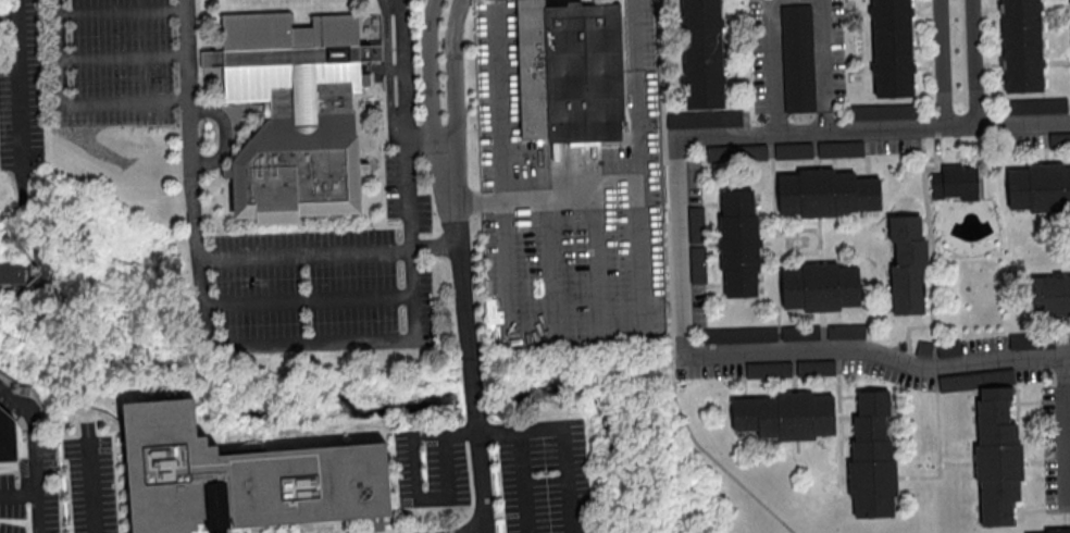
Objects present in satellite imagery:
road: (1054, 3)
road: (843, 4)
road: (384, 5)
road: (986, 7)
road: (923, 9)
parking lot: (1069, 10)
road: (856, 11)
road: (123, 14)
building: (1020, 16)
building: (891, 20)
road: (734, 21)
road: (670, 23)
building: (700, 25)
parking lot: (637, 34)
parking lot: (764, 44)
building: (797, 57)
parking lot: (797, 57)
road: (124, 59)
road: (972, 61)
road: (1055, 61)
road: (940, 62)
building: (1021, 62)
parking lot: (113, 63)
road: (988, 64)
road: (821, 65)
road: (773, 66)
road: (925, 66)
building: (892, 67)
road: (387, 69)
road: (406, 69)
road: (858, 69)
road: (430, 70)
road: (451, 70)
building: (569, 70)
road: (387, 77)
road: (736, 77)
building: (704, 78)
road: (672, 79)
road: (18, 85)
road: (501, 100)
road: (204, 102)
building: (1036, 106)
parking lot: (1036, 106)
road: (71, 108)
road: (244, 108)
building: (882, 111)
parking lot: (882, 111)
building: (296, 113)
parking lot: (745, 116)
building: (705, 117)
parking lot: (705, 117)
road: (872, 127)
road: (226, 136)
road: (425, 138)
parking lot: (1025, 139)
building: (1059, 140)
parking lot: (1059, 140)
road: (239, 141)
road: (1045, 142)
parking lot: (894, 144)
road: (956, 144)
building: (839, 147)
parking lot: (839, 147)
building: (793, 149)
parking lot: (793, 149)
road: (814, 149)
road: (866, 150)
road: (936, 150)
road: (383, 151)
building: (736, 151)
parking lot: (736, 151)
road: (636, 161)
road: (859, 173)
road: (873, 173)
road: (371, 177)
parking lot: (693, 181)
building: (955, 181)
building: (1040, 187)
building: (816, 193)
building: (860, 193)
building: (873, 193)
road: (719, 194)
building: (736, 195)
road: (928, 195)
road: (718, 198)
road: (546, 199)
road: (213, 200)
road: (698, 202)
road: (718, 207)
building: (737, 208)
road: (720, 212)
road: (923, 218)
building: (904, 221)
building: (695, 223)
parking lot: (695, 223)
road: (302, 228)
building: (904, 233)
road: (924, 236)
road: (818, 239)
road: (767, 241)
road: (775, 241)
building: (738, 243)
road: (929, 243)
road: (699, 244)
road: (680, 245)
building: (910, 246)
road: (435, 249)
road: (304, 253)
building: (910, 258)
road: (929, 260)
road: (931, 261)
building: (697, 263)
parking lot: (697, 263)
road: (926, 265)
road: (597, 268)
road: (550, 271)
building: (906, 271)
building: (11, 273)
road: (722, 275)
building: (739, 277)
road: (721, 280)
building: (906, 283)
parking lot: (320, 284)
road: (701, 285)
building: (819, 286)
road: (924, 286)
road: (928, 287)
road: (721, 289)
building: (741, 289)
road: (668, 290)
road: (924, 292)
road: (723, 294)
building: (1050, 294)
building: (907, 296)
road: (308, 300)
park: (981, 303)
parking lot: (697, 305)
road: (926, 308)
building: (907, 309)
road: (822, 331)
building: (845, 331)
parking lot: (845, 331)
road: (907, 331)
building: (800, 332)
parking lot: (800, 332)
building: (739, 334)
parking lot: (739, 334)
road: (1061, 334)
road: (468, 335)
parking lot: (1062, 338)
building: (1031, 339)
parking lot: (1031, 339)
road: (513, 343)
road: (238, 346)
building: (924, 347)
parking lot: (924, 347)
building: (948, 347)
parking lot: (948, 347)
road: (878, 354)
parking lot: (850, 363)
building: (814, 368)
parking lot: (814, 368)
parking lot: (713, 370)
building: (768, 370)
parking lot: (768, 370)
road: (793, 372)
parking lot: (1030, 373)
road: (743, 374)
building: (976, 380)
parking lot: (976, 380)
parking lot: (918, 381)
building: (995, 392)
road: (1017, 392)
road: (847, 394)
road: (737, 395)
road: (749, 395)
building: (872, 395)
road: (1030, 400)
road: (1012, 401)
building: (992, 405)
building: (872, 408)
building: (750, 412)
road: (853, 412)
building: (737, 413)
building: (795, 414)
road: (1017, 414)
road: (845, 416)
building: (992, 417)
road: (851, 418)
road: (839, 419)
building: (869, 421)
road: (1066, 427)
building: (870, 433)
building: (8, 436)
road: (847, 437)
road: (937, 444)
parking lot: (1057, 444)
road: (796, 445)
road: (32, 455)
road: (563, 459)
road: (1033, 460)
road: (522, 461)
building: (997, 461)
road: (956, 462)
building: (238, 478)
building: (872, 478)
road: (411, 482)
road: (92, 488)
road: (1020, 503)
building: (996, 506)
road: (1034, 510)
road: (1063, 517)
building: (996, 518)
road: (1020, 520)
building: (1058, 530)

